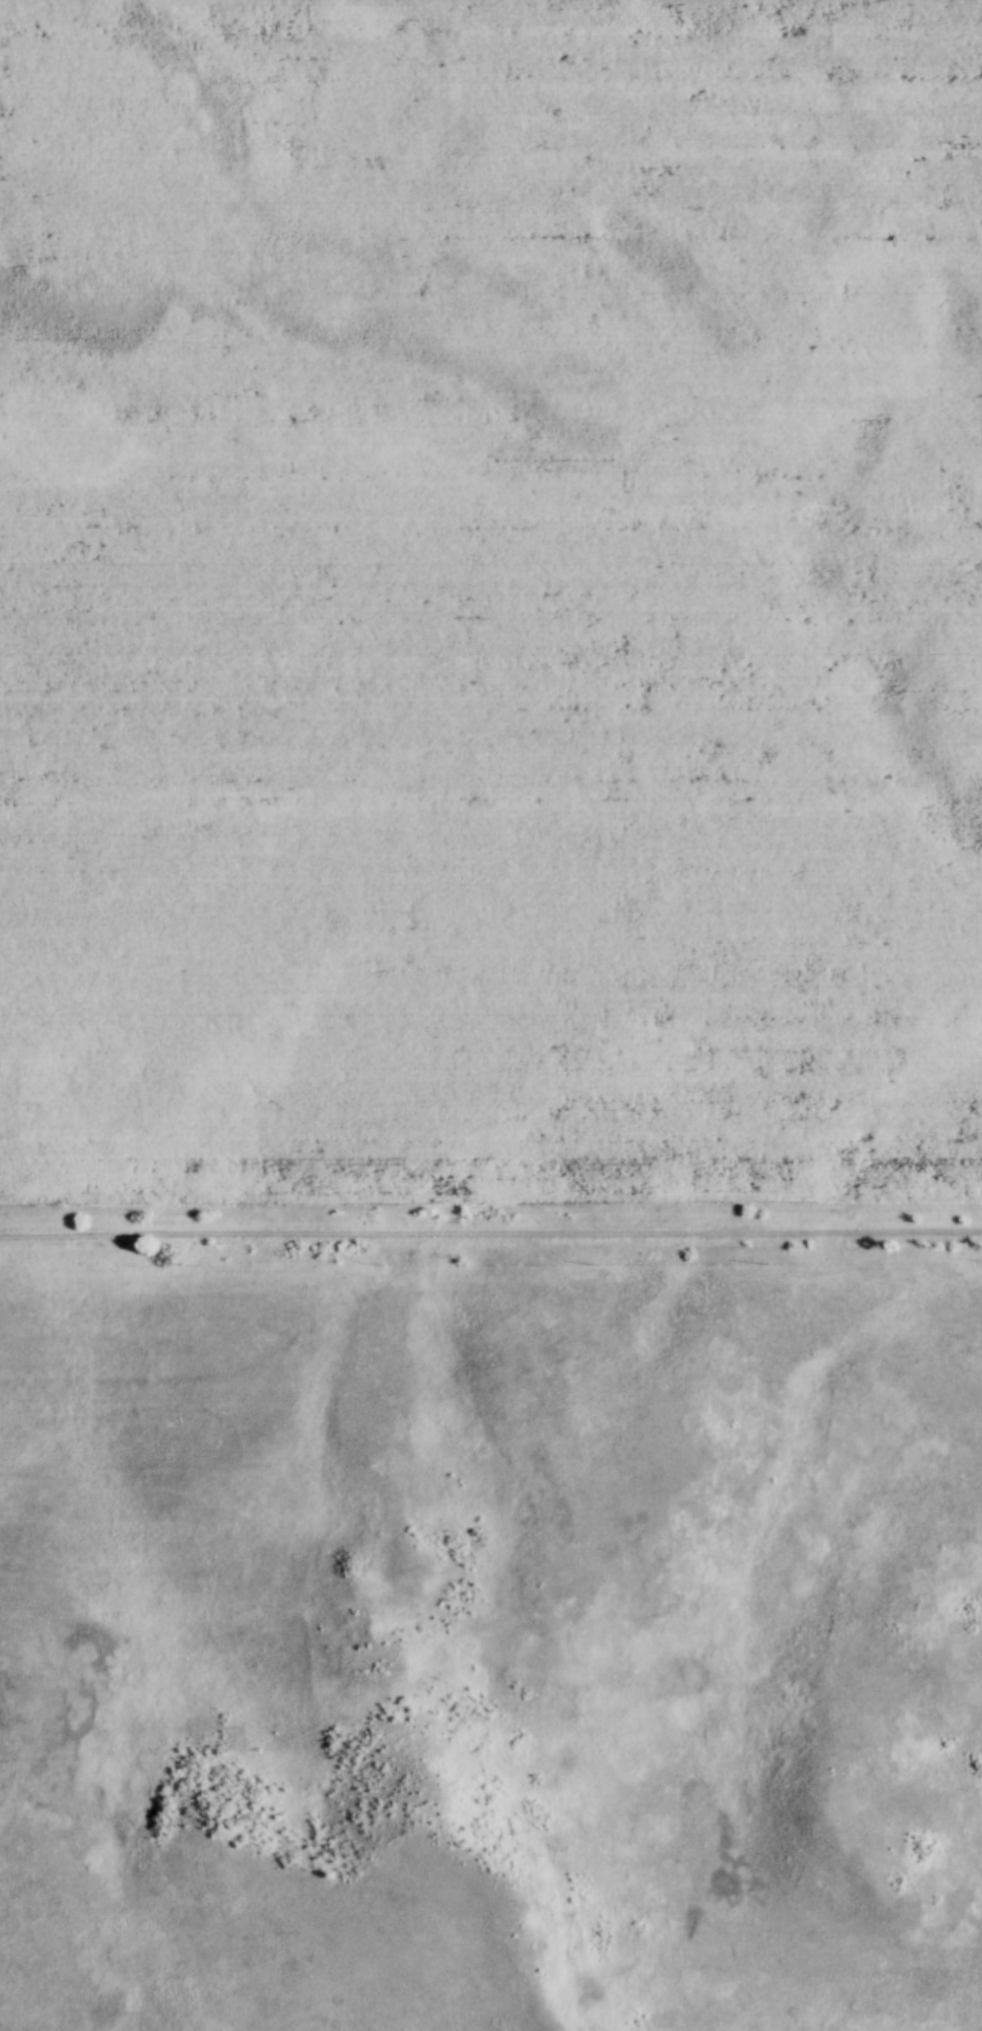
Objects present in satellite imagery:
road: (490, 1231)

